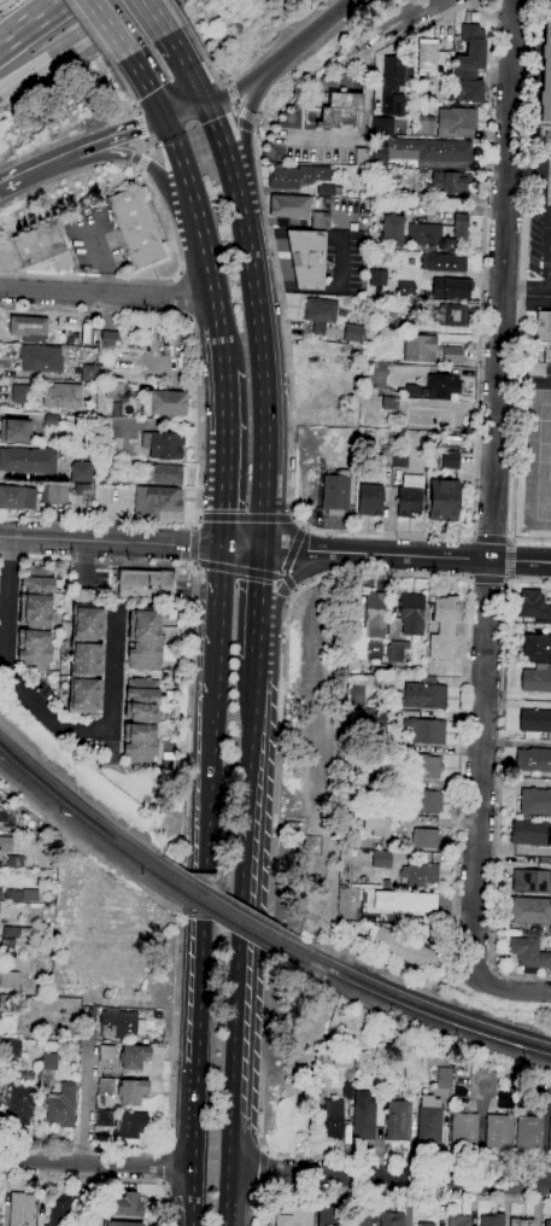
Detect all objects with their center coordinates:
road: (177, 11)
road: (157, 14)
road: (401, 17)
road: (31, 22)
road: (323, 22)
road: (421, 27)
road: (107, 28)
road: (88, 31)
road: (175, 41)
road: (75, 43)
road: (201, 53)
building: (427, 56)
building: (470, 64)
building: (546, 66)
road: (253, 76)
road: (194, 77)
road: (225, 83)
road: (147, 86)
road: (124, 87)
building: (392, 87)
road: (230, 93)
road: (254, 95)
traffic signals: (207, 104)
road: (236, 105)
building: (340, 110)
road: (186, 111)
road: (139, 112)
road: (246, 112)
road: (256, 117)
traffic signals: (165, 118)
building: (457, 122)
road: (141, 125)
building: (426, 125)
building: (383, 127)
road: (130, 129)
road: (217, 129)
road: (528, 144)
road: (88, 147)
road: (145, 147)
building: (421, 151)
building: (363, 157)
road: (142, 160)
road: (148, 165)
road: (37, 167)
road: (529, 167)
road: (140, 169)
building: (297, 176)
building: (450, 182)
building: (328, 191)
building: (289, 206)
building: (320, 221)
building: (136, 229)
parking lot: (539, 230)
building: (423, 233)
road: (203, 238)
building: (43, 245)
building: (306, 258)
building: (442, 262)
road: (535, 262)
road: (483, 269)
building: (379, 278)
road: (147, 280)
building: (405, 288)
building: (451, 288)
road: (526, 288)
road: (106, 293)
building: (320, 314)
building: (451, 315)
building: (403, 323)
building: (29, 328)
building: (353, 333)
building: (544, 334)
road: (286, 339)
building: (109, 340)
building: (420, 349)
road: (262, 350)
building: (452, 355)
building: (41, 358)
building: (88, 373)
building: (115, 380)
building: (442, 386)
building: (112, 390)
building: (412, 391)
building: (19, 393)
building: (61, 396)
building: (165, 403)
building: (379, 404)
road: (516, 416)
building: (439, 418)
building: (51, 419)
road: (199, 424)
building: (14, 431)
building: (163, 446)
road: (224, 454)
building: (383, 459)
building: (399, 459)
building: (28, 460)
building: (450, 460)
park: (540, 462)
building: (81, 472)
building: (163, 474)
road: (493, 490)
building: (83, 494)
building: (54, 495)
building: (334, 495)
building: (17, 497)
building: (157, 500)
building: (370, 501)
building: (444, 501)
building: (409, 502)
road: (200, 518)
road: (247, 518)
road: (294, 519)
road: (194, 525)
road: (304, 527)
road: (473, 538)
road: (491, 538)
road: (112, 541)
road: (528, 542)
road: (194, 543)
traffic signals: (227, 547)
traffic signals: (265, 549)
road: (293, 551)
road: (388, 554)
road: (98, 560)
road: (509, 560)
road: (195, 562)
road: (198, 566)
road: (240, 574)
road: (509, 577)
road: (291, 578)
road: (470, 578)
road: (488, 578)
road: (506, 579)
road: (529, 580)
road: (288, 582)
building: (145, 585)
road: (263, 588)
road: (295, 590)
building: (532, 606)
building: (445, 609)
building: (411, 613)
building: (375, 614)
building: (35, 619)
road: (221, 630)
building: (145, 638)
road: (260, 641)
building: (442, 642)
building: (537, 648)
building: (357, 650)
building: (397, 650)
building: (86, 659)
building: (537, 679)
building: (379, 683)
building: (423, 696)
road: (47, 712)
building: (365, 718)
building: (140, 720)
building: (535, 722)
building: (426, 731)
building: (383, 738)
road: (459, 752)
building: (382, 753)
building: (533, 760)
building: (426, 766)
road: (254, 781)
building: (381, 788)
road: (211, 793)
building: (535, 801)
building: (426, 802)
road: (498, 804)
railway: (86, 810)
building: (7, 817)
railway: (86, 823)
building: (376, 825)
building: (531, 833)
building: (424, 839)
building: (6, 843)
building: (380, 858)
building: (14, 860)
building: (418, 874)
building: (531, 881)
building: (385, 883)
building: (0, 894)
building: (22, 895)
road: (204, 895)
building: (404, 901)
railway: (225, 904)
building: (529, 911)
railway: (224, 917)
road: (247, 926)
road: (268, 926)
building: (10, 932)
road: (180, 940)
building: (7, 944)
building: (401, 947)
building: (528, 953)
building: (8, 980)
road: (502, 988)
road: (539, 993)
railway: (408, 997)
building: (6, 999)
railway: (408, 1008)
building: (112, 1022)
building: (12, 1049)
building: (107, 1053)
building: (134, 1057)
building: (342, 1059)
building: (49, 1061)
building: (461, 1064)
building: (412, 1067)
road: (194, 1073)
building: (25, 1075)
park: (303, 1078)
building: (444, 1079)
road: (240, 1085)
building: (348, 1085)
building: (105, 1086)
building: (131, 1091)
road: (84, 1092)
building: (0, 1098)
building: (20, 1105)
building: (61, 1105)
building: (363, 1116)
building: (332, 1119)
building: (397, 1120)
building: (428, 1120)
building: (122, 1122)
building: (463, 1131)
building: (498, 1131)
building: (528, 1133)
building: (550, 1137)
road: (95, 1163)
road: (159, 1166)
road: (270, 1169)
road: (393, 1177)
road: (102, 1180)
road: (387, 1192)
building: (124, 1205)
building: (22, 1209)
building: (60, 1212)
building: (291, 1215)
building: (328, 1216)
building: (359, 1219)
building: (391, 1219)
building: (459, 1220)
building: (492, 1220)
building: (87, 1222)
building: (521, 1222)
building: (122, 1224)
building: (424, 1224)
building: (547, 1224)

